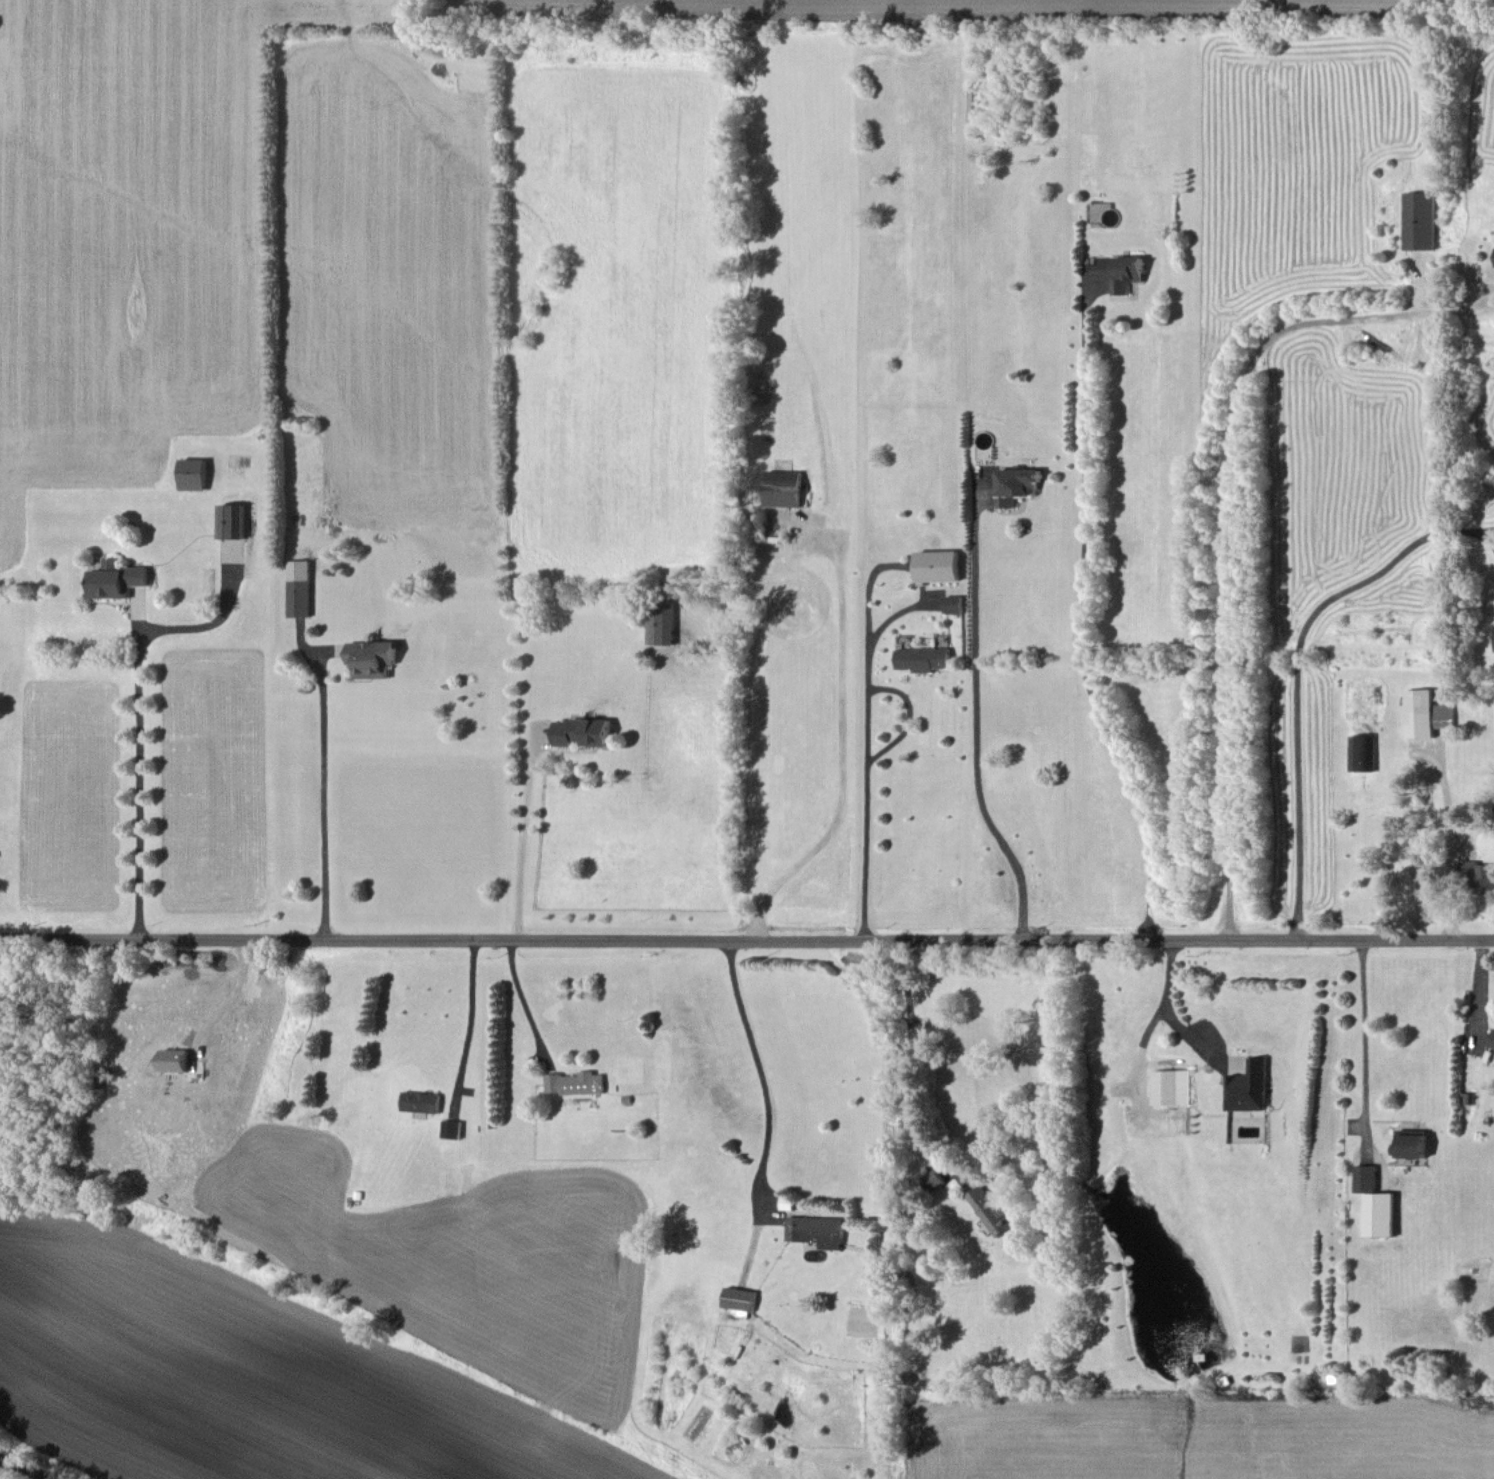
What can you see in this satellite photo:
building: (1421, 219)
building: (1128, 272)
building: (191, 473)
building: (1016, 484)
building: (783, 487)
road: (1227, 518)
building: (231, 520)
building: (939, 565)
building: (115, 578)
building: (299, 588)
building: (954, 604)
road: (1083, 619)
building: (661, 622)
building: (372, 657)
building: (924, 658)
road: (1297, 668)
building: (1425, 713)
road: (977, 720)
building: (581, 731)
road: (840, 749)
building: (1362, 752)
road: (139, 779)
road: (325, 797)
road: (865, 803)
road: (522, 837)
road: (1450, 838)
building: (1478, 875)
road: (747, 936)
road: (1168, 973)
road: (1479, 987)
road: (235, 993)
road: (523, 999)
road: (472, 1016)
road: (1193, 1039)
road: (1142, 1040)
building: (1491, 1040)
road: (1364, 1041)
building: (174, 1059)
road: (912, 1062)
road: (759, 1070)
building: (574, 1082)
building: (1169, 1086)
building: (1248, 1086)
building: (421, 1101)
building: (1413, 1142)
building: (931, 1178)
building: (1376, 1202)
building: (989, 1209)
building: (817, 1230)
building: (739, 1297)

